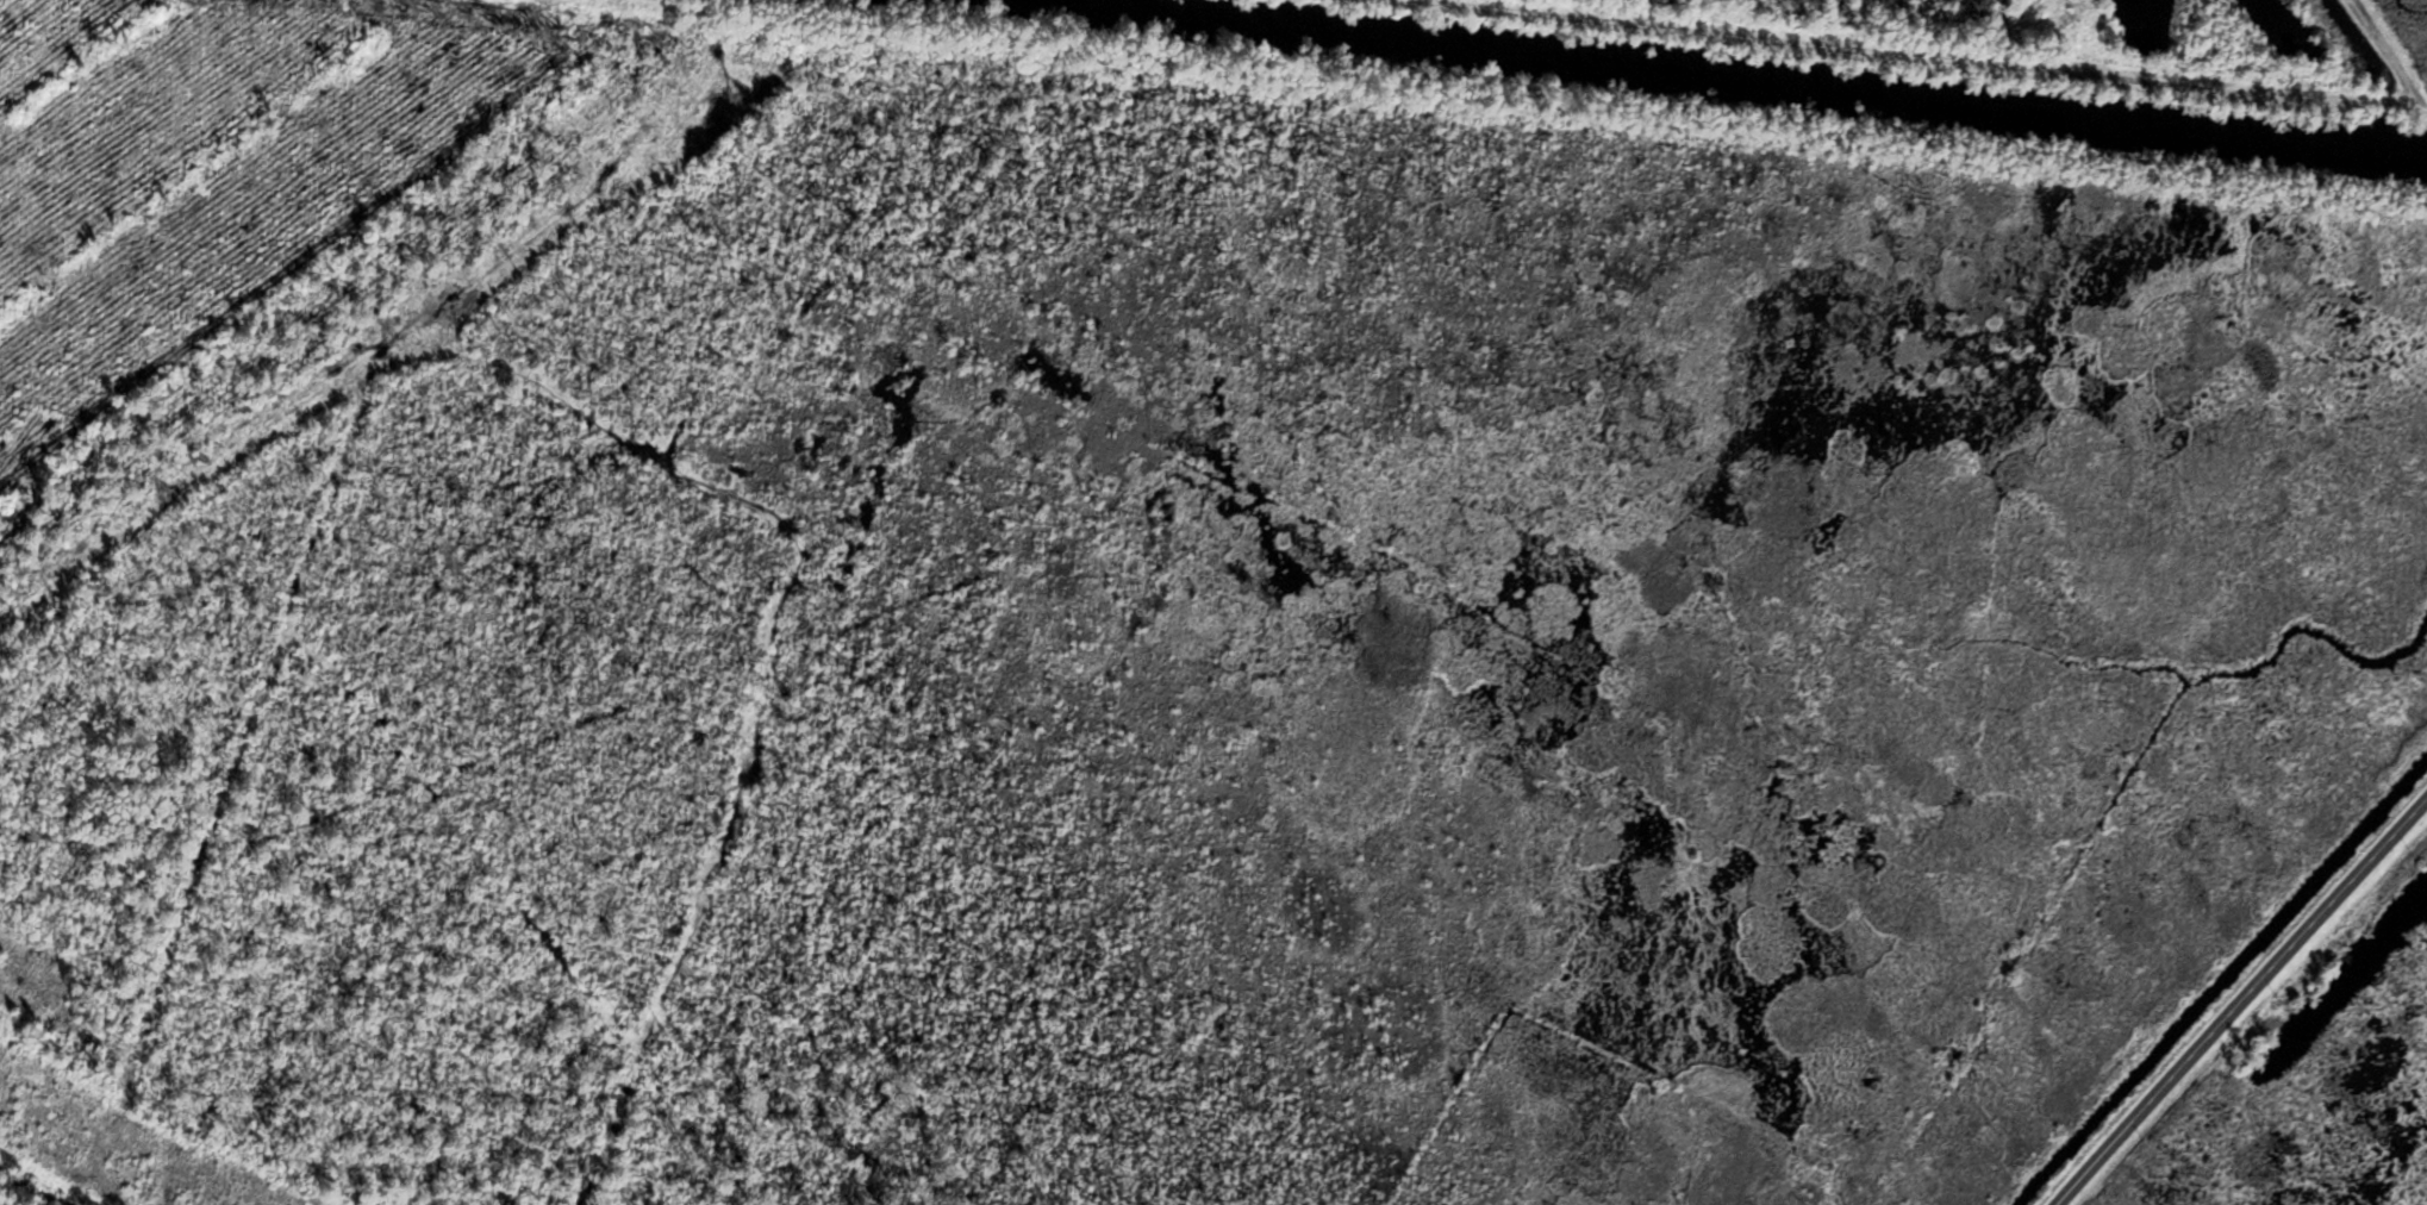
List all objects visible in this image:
road: (2265, 71)
road: (2239, 1000)

